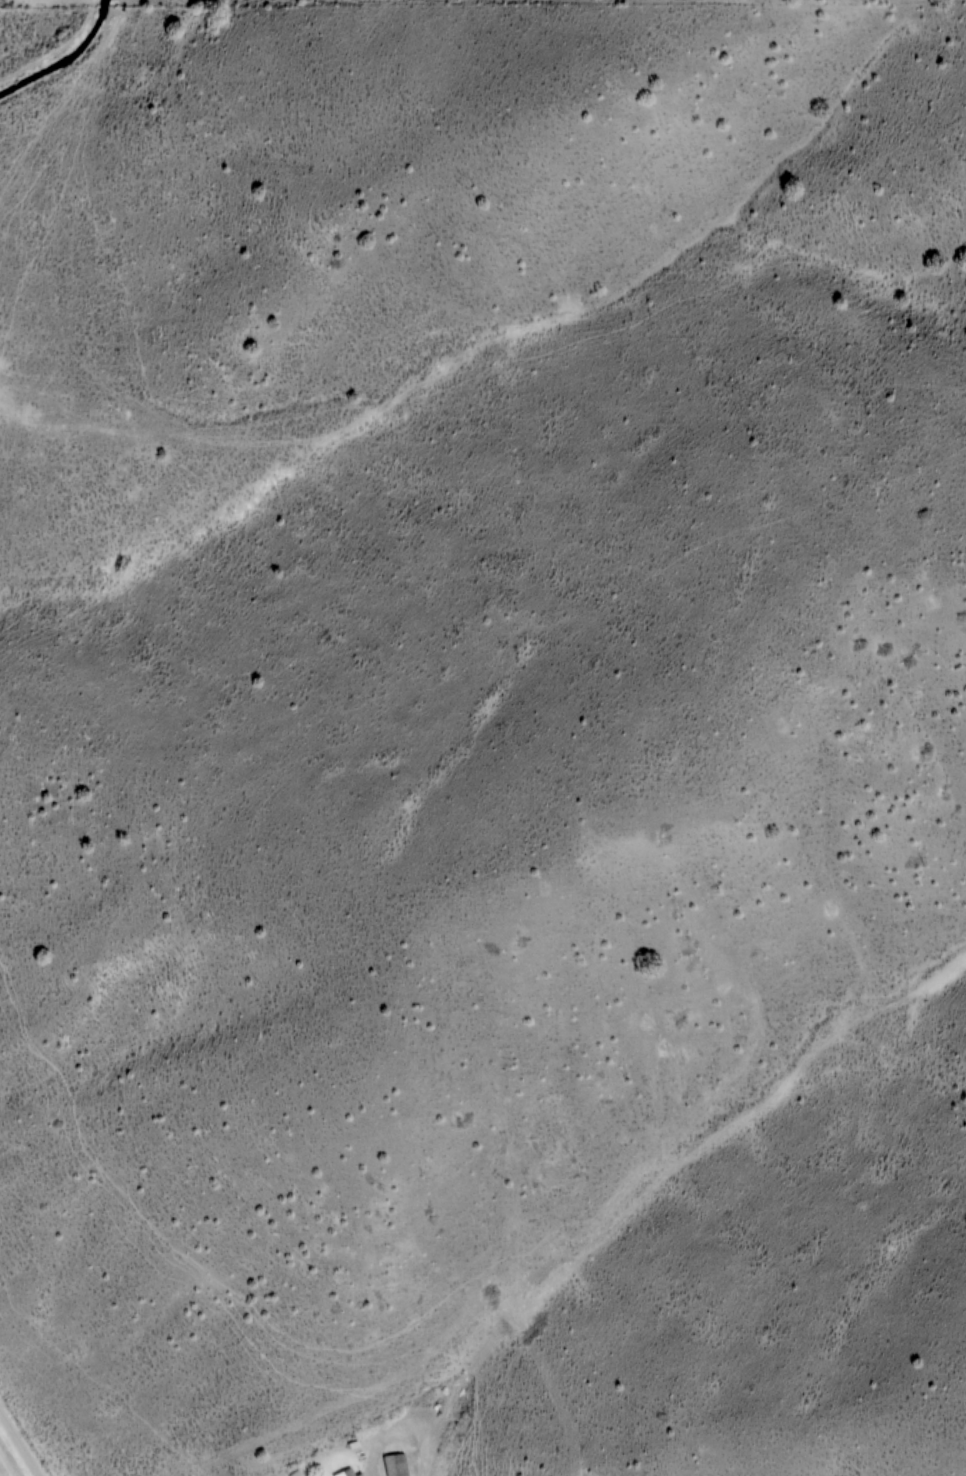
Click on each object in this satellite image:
road: (21, 1440)
building: (397, 1465)
building: (347, 1473)

